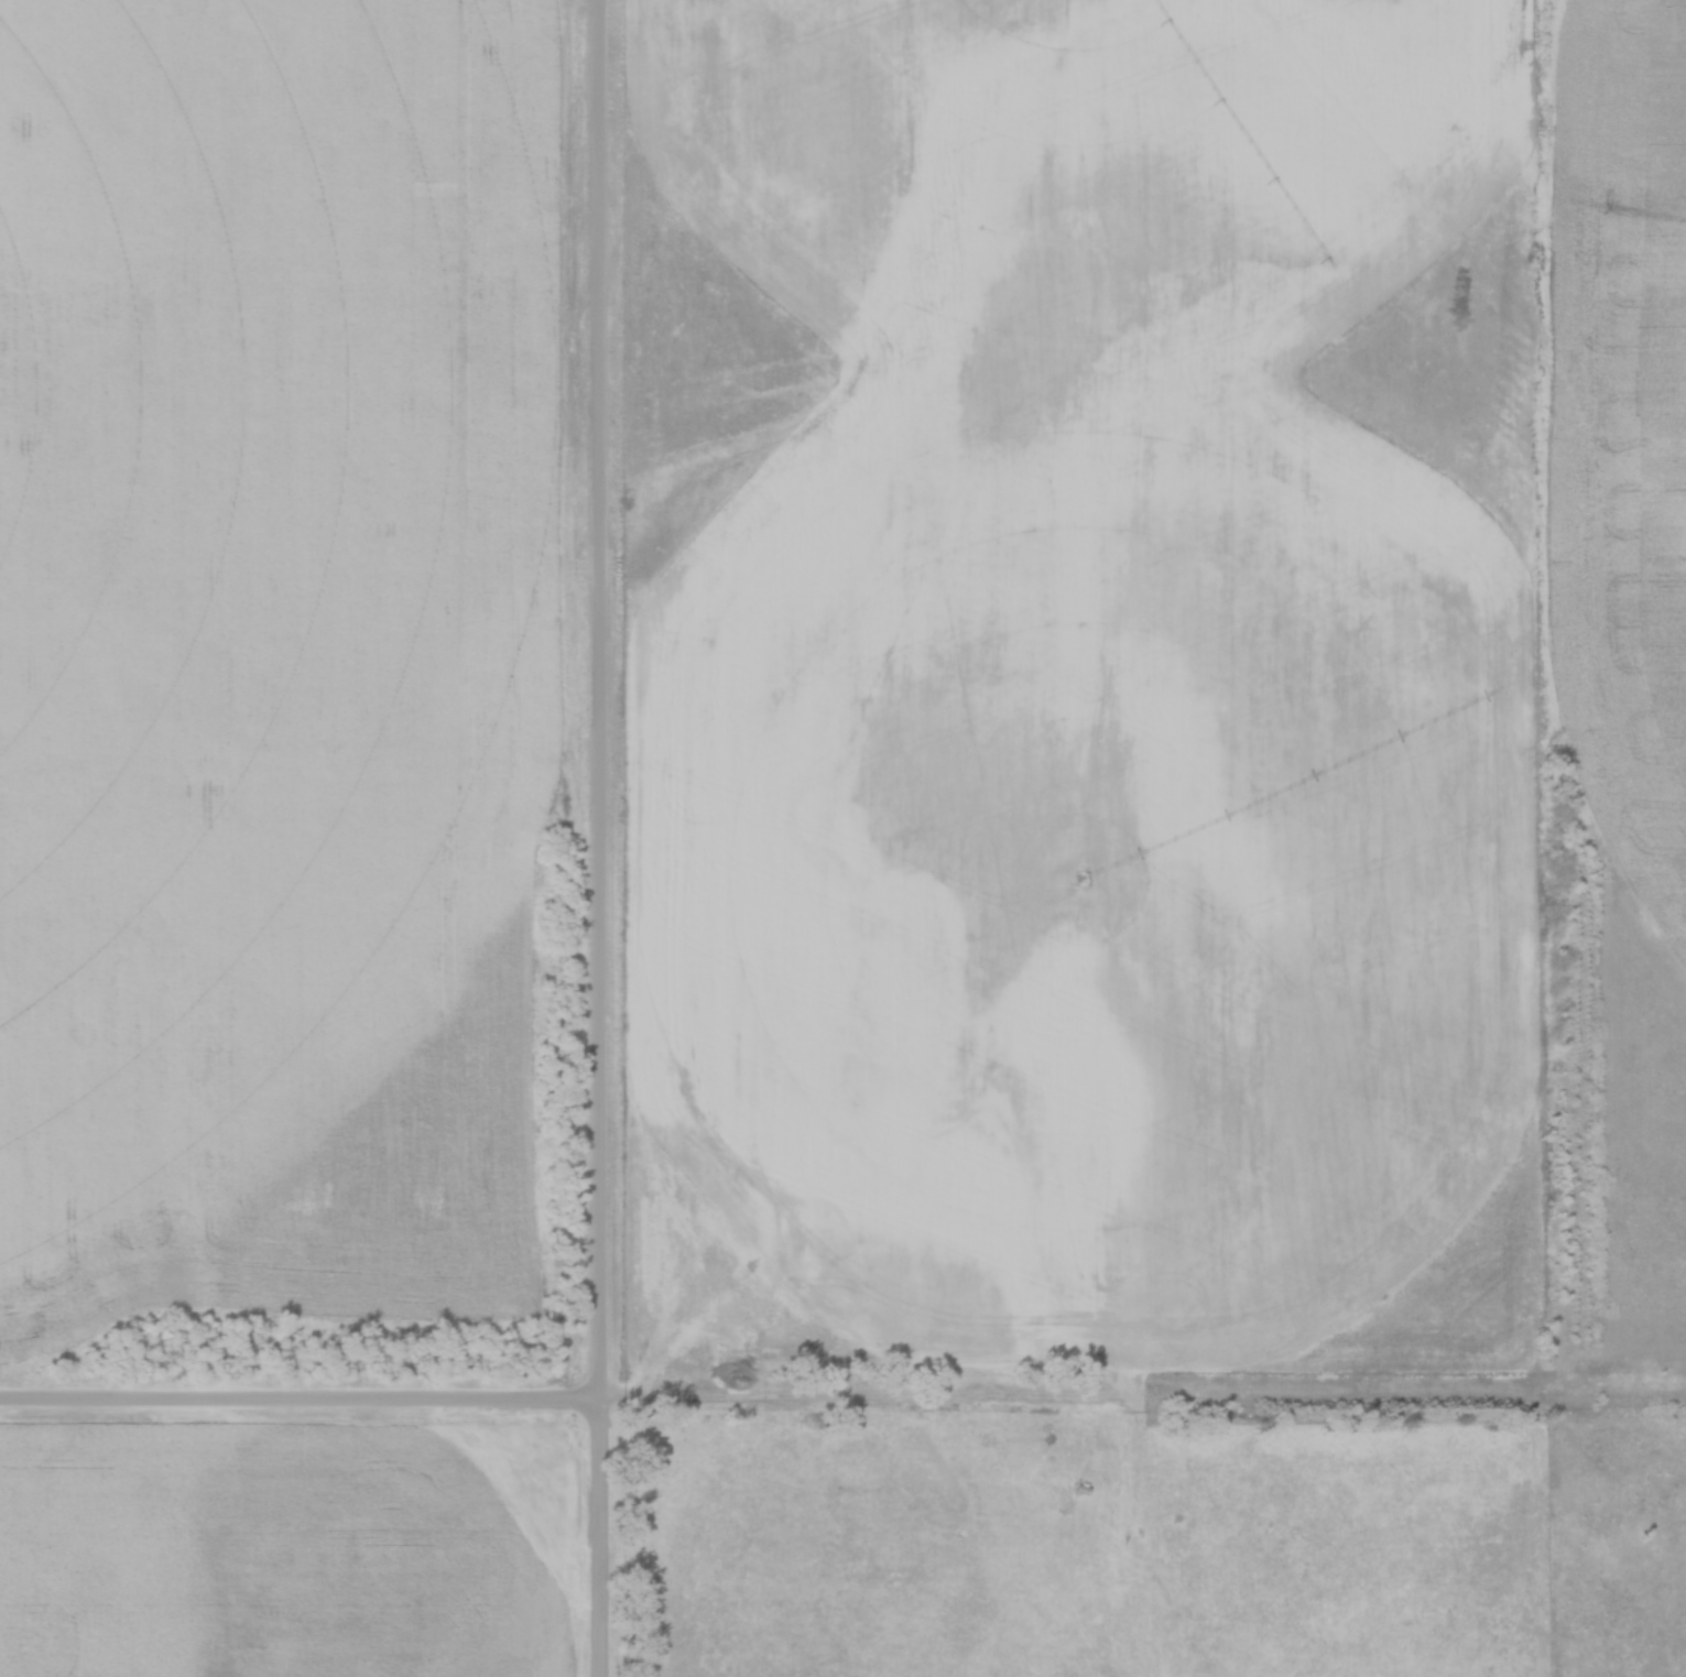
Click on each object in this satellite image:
road: (602, 838)
road: (842, 1403)

